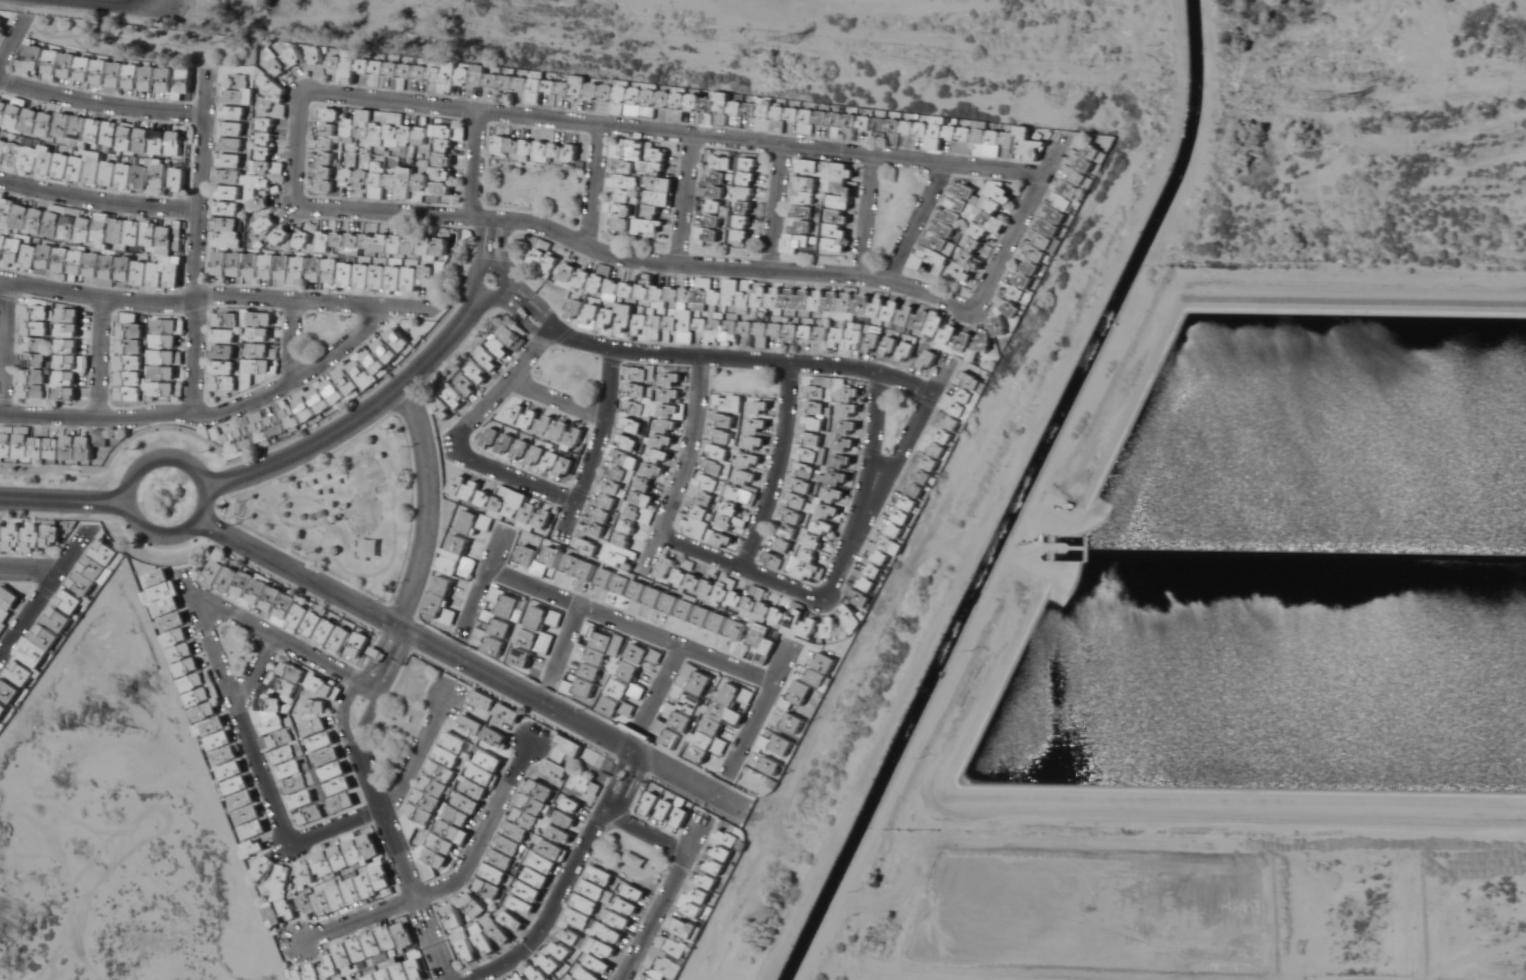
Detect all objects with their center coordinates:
power tower: (804, 49)
power tower: (1359, 110)
park: (534, 185)
park: (898, 206)
park: (571, 369)
park: (897, 413)
park: (343, 504)

